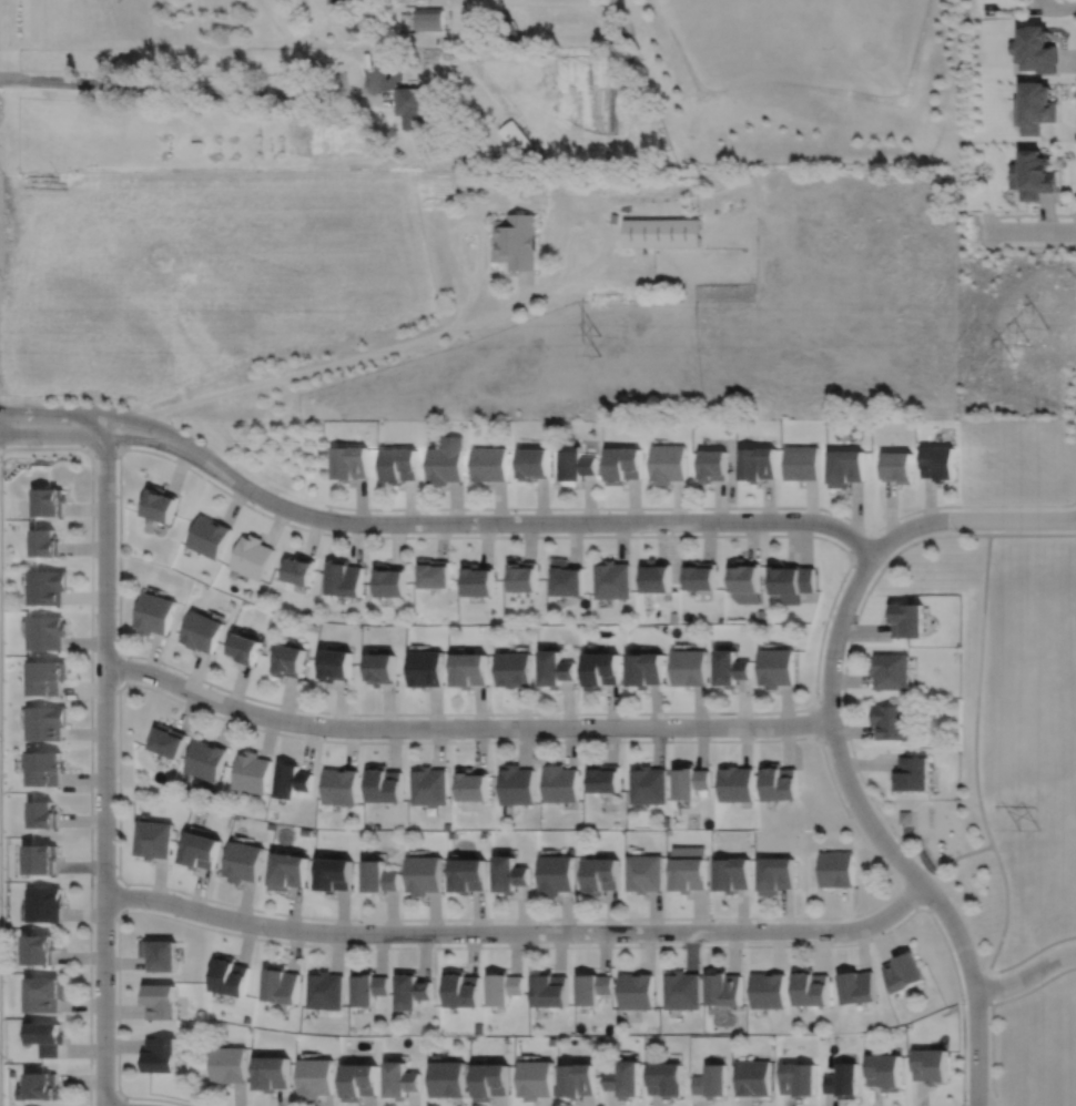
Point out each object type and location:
building: (344, 1)
building: (433, 19)
building: (1035, 49)
road: (1075, 79)
road: (195, 90)
building: (413, 106)
building: (1034, 108)
road: (1075, 110)
building: (516, 136)
building: (1033, 175)
road: (1037, 215)
building: (613, 219)
road: (465, 220)
road: (579, 227)
road: (1028, 231)
building: (660, 232)
building: (516, 242)
road: (1031, 246)
road: (618, 258)
road: (562, 280)
road: (526, 287)
road: (464, 312)
road: (487, 317)
power tower: (1031, 344)
power tower: (606, 352)
road: (291, 374)
road: (122, 417)
road: (1073, 419)
road: (118, 437)
road: (55, 448)
building: (446, 463)
building: (349, 464)
building: (667, 464)
building: (801, 464)
building: (938, 464)
building: (534, 465)
building: (575, 465)
building: (757, 465)
building: (399, 466)
building: (489, 466)
building: (621, 466)
building: (711, 467)
building: (845, 468)
building: (897, 468)
building: (50, 504)
building: (158, 506)
road: (706, 507)
road: (968, 519)
road: (550, 522)
road: (1033, 534)
road: (938, 536)
building: (206, 538)
building: (45, 545)
road: (862, 545)
building: (251, 558)
building: (297, 572)
building: (434, 576)
building: (522, 578)
building: (699, 578)
building: (654, 579)
building: (343, 580)
building: (565, 581)
building: (389, 582)
building: (478, 582)
building: (610, 582)
building: (745, 584)
building: (790, 584)
building: (48, 588)
building: (154, 616)
building: (907, 622)
building: (47, 632)
building: (201, 633)
road: (103, 646)
building: (244, 650)
building: (288, 661)
building: (336, 664)
road: (124, 668)
building: (382, 668)
building: (689, 668)
building: (775, 668)
building: (426, 669)
building: (554, 669)
building: (469, 670)
building: (512, 670)
building: (600, 670)
building: (644, 670)
building: (730, 670)
building: (891, 671)
building: (48, 676)
road: (103, 689)
road: (802, 709)
road: (816, 718)
building: (892, 720)
building: (47, 721)
road: (463, 727)
building: (165, 739)
park: (1012, 743)
building: (204, 759)
road: (103, 760)
building: (47, 767)
building: (250, 771)
building: (912, 772)
road: (90, 777)
building: (602, 777)
building: (290, 779)
building: (688, 780)
building: (779, 781)
building: (559, 782)
building: (735, 782)
building: (384, 783)
building: (647, 783)
building: (471, 784)
building: (515, 784)
building: (339, 785)
building: (428, 785)
building: (44, 813)
building: (905, 815)
power tower: (1026, 829)
road: (879, 836)
building: (152, 838)
road: (905, 838)
building: (199, 850)
road: (975, 850)
building: (42, 858)
building: (243, 861)
building: (687, 867)
building: (836, 869)
building: (287, 870)
building: (642, 872)
building: (334, 873)
building: (424, 873)
building: (507, 873)
building: (555, 873)
building: (730, 873)
building: (774, 873)
building: (468, 874)
building: (599, 874)
building: (379, 875)
road: (103, 876)
road: (125, 897)
road: (906, 899)
building: (45, 903)
road: (1006, 910)
road: (846, 916)
road: (103, 919)
road: (519, 933)
road: (503, 946)
road: (0, 948)
building: (42, 948)
building: (159, 954)
road: (1031, 954)
building: (903, 971)
road: (1026, 974)
building: (229, 975)
building: (281, 985)
building: (504, 986)
building: (857, 986)
road: (1034, 986)
building: (367, 987)
building: (590, 987)
building: (810, 987)
building: (463, 988)
building: (722, 988)
road: (988, 988)
building: (548, 990)
building: (680, 990)
building: (767, 990)
building: (324, 991)
building: (412, 991)
building: (635, 991)
building: (47, 994)
building: (159, 1002)
building: (478, 1028)
building: (47, 1038)
building: (550, 1042)
building: (160, 1055)
road: (992, 1056)
building: (229, 1065)
building: (930, 1065)
building: (884, 1072)
building: (272, 1074)
building: (316, 1077)
building: (752, 1078)
building: (448, 1079)
building: (535, 1079)
building: (623, 1079)
building: (664, 1079)
building: (798, 1079)
building: (402, 1080)
building: (576, 1080)
building: (842, 1080)
building: (359, 1082)
building: (490, 1082)
building: (710, 1082)
building: (39, 1087)
road: (123, 1100)

